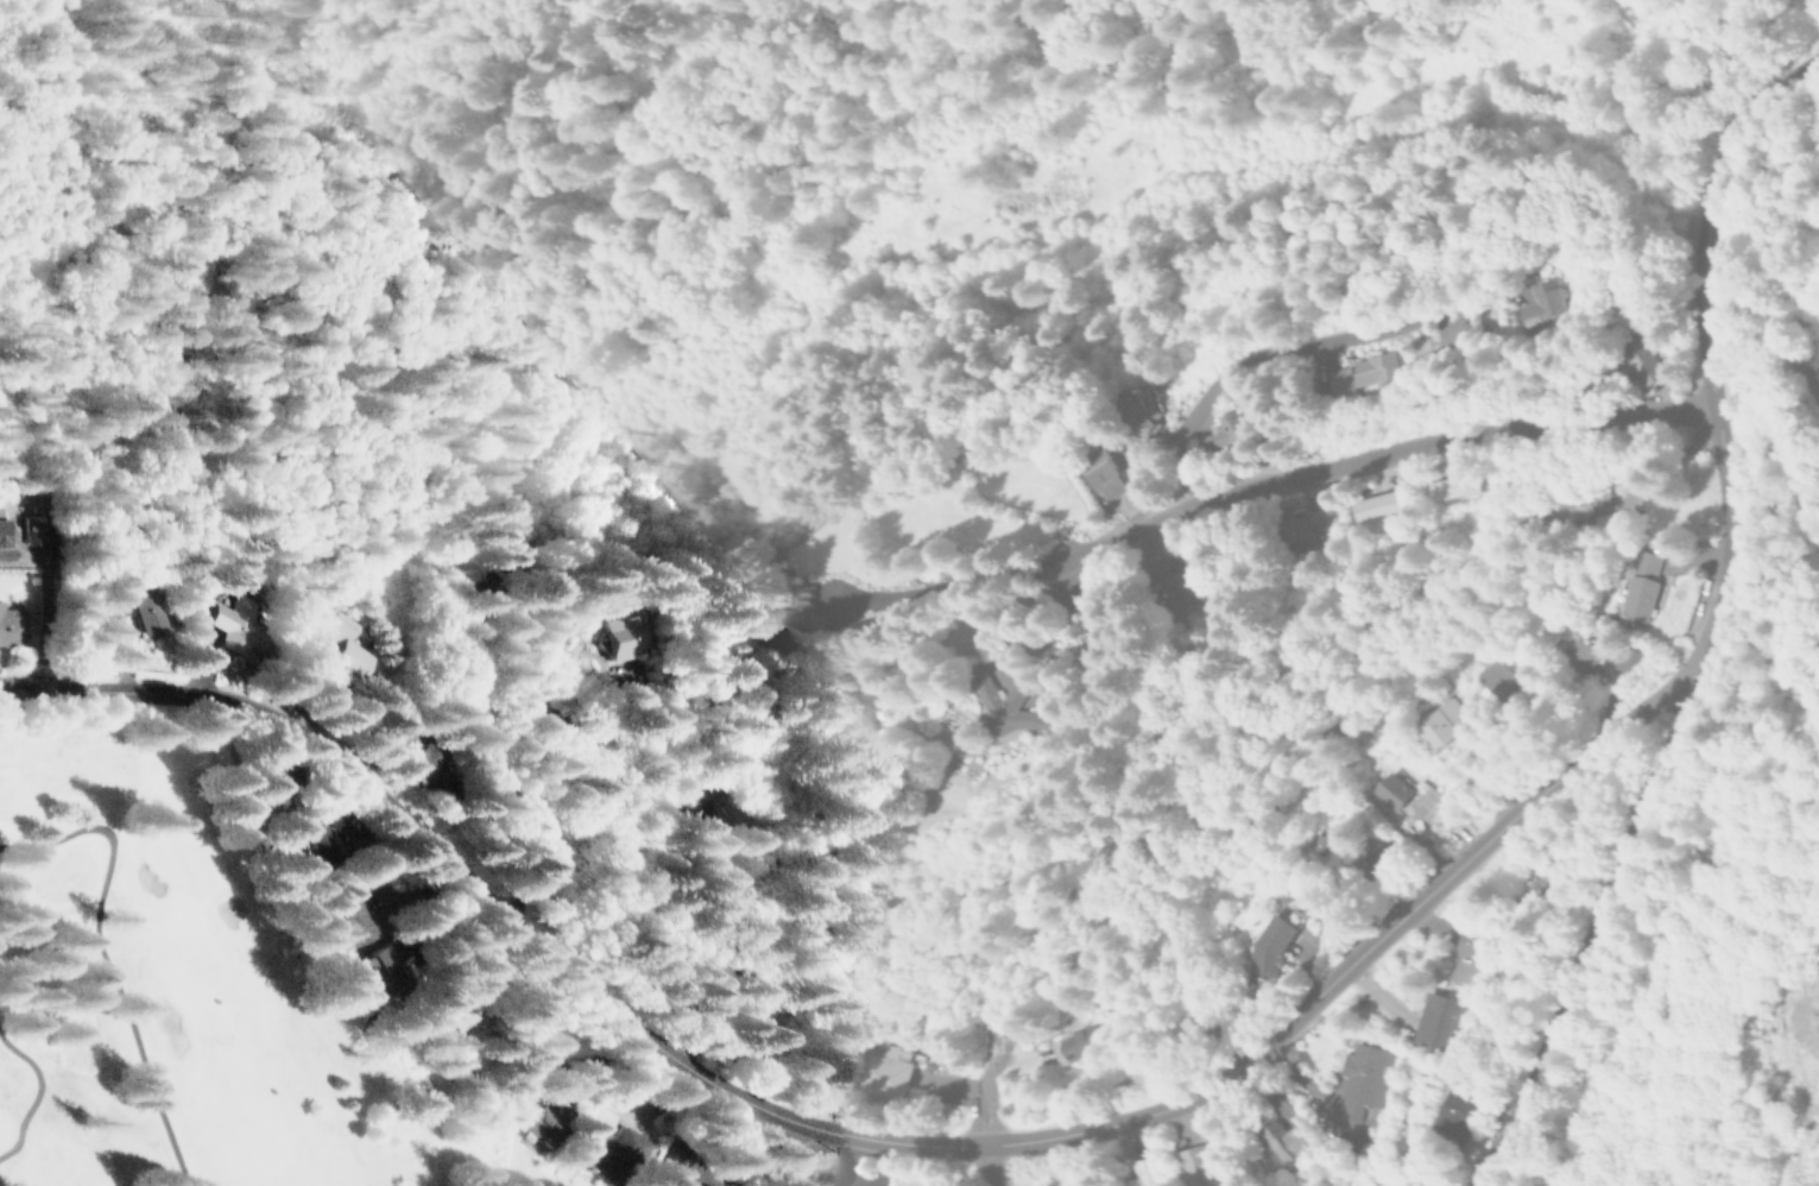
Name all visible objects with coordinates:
building: (1535, 301)
building: (1630, 357)
building: (1363, 368)
building: (1141, 409)
building: (1225, 434)
road: (1343, 468)
building: (1103, 473)
building: (1451, 486)
building: (1560, 497)
building: (1376, 501)
building: (38, 529)
building: (1302, 529)
building: (5, 532)
building: (1175, 576)
building: (1628, 586)
building: (152, 601)
building: (759, 618)
road: (1692, 618)
building: (251, 619)
building: (8, 623)
building: (615, 633)
building: (373, 648)
building: (1560, 649)
building: (1616, 657)
building: (1485, 675)
building: (1004, 704)
building: (1429, 730)
building: (456, 769)
building: (269, 782)
building: (1385, 789)
building: (1423, 803)
building: (339, 809)
building: (320, 840)
building: (1364, 854)
building: (1529, 881)
road: (557, 887)
building: (350, 902)
building: (1261, 946)
building: (1466, 954)
building: (380, 969)
park: (159, 984)
building: (459, 1005)
building: (1432, 1020)
building: (1183, 1026)
building: (743, 1032)
building: (1070, 1035)
building: (872, 1070)
building: (1349, 1077)
road: (984, 1098)
building: (1445, 1115)
building: (548, 1123)
road: (838, 1130)
building: (1274, 1138)
building: (608, 1153)
road: (989, 1165)
building: (1179, 1166)
building: (674, 1168)
building: (1130, 1173)

